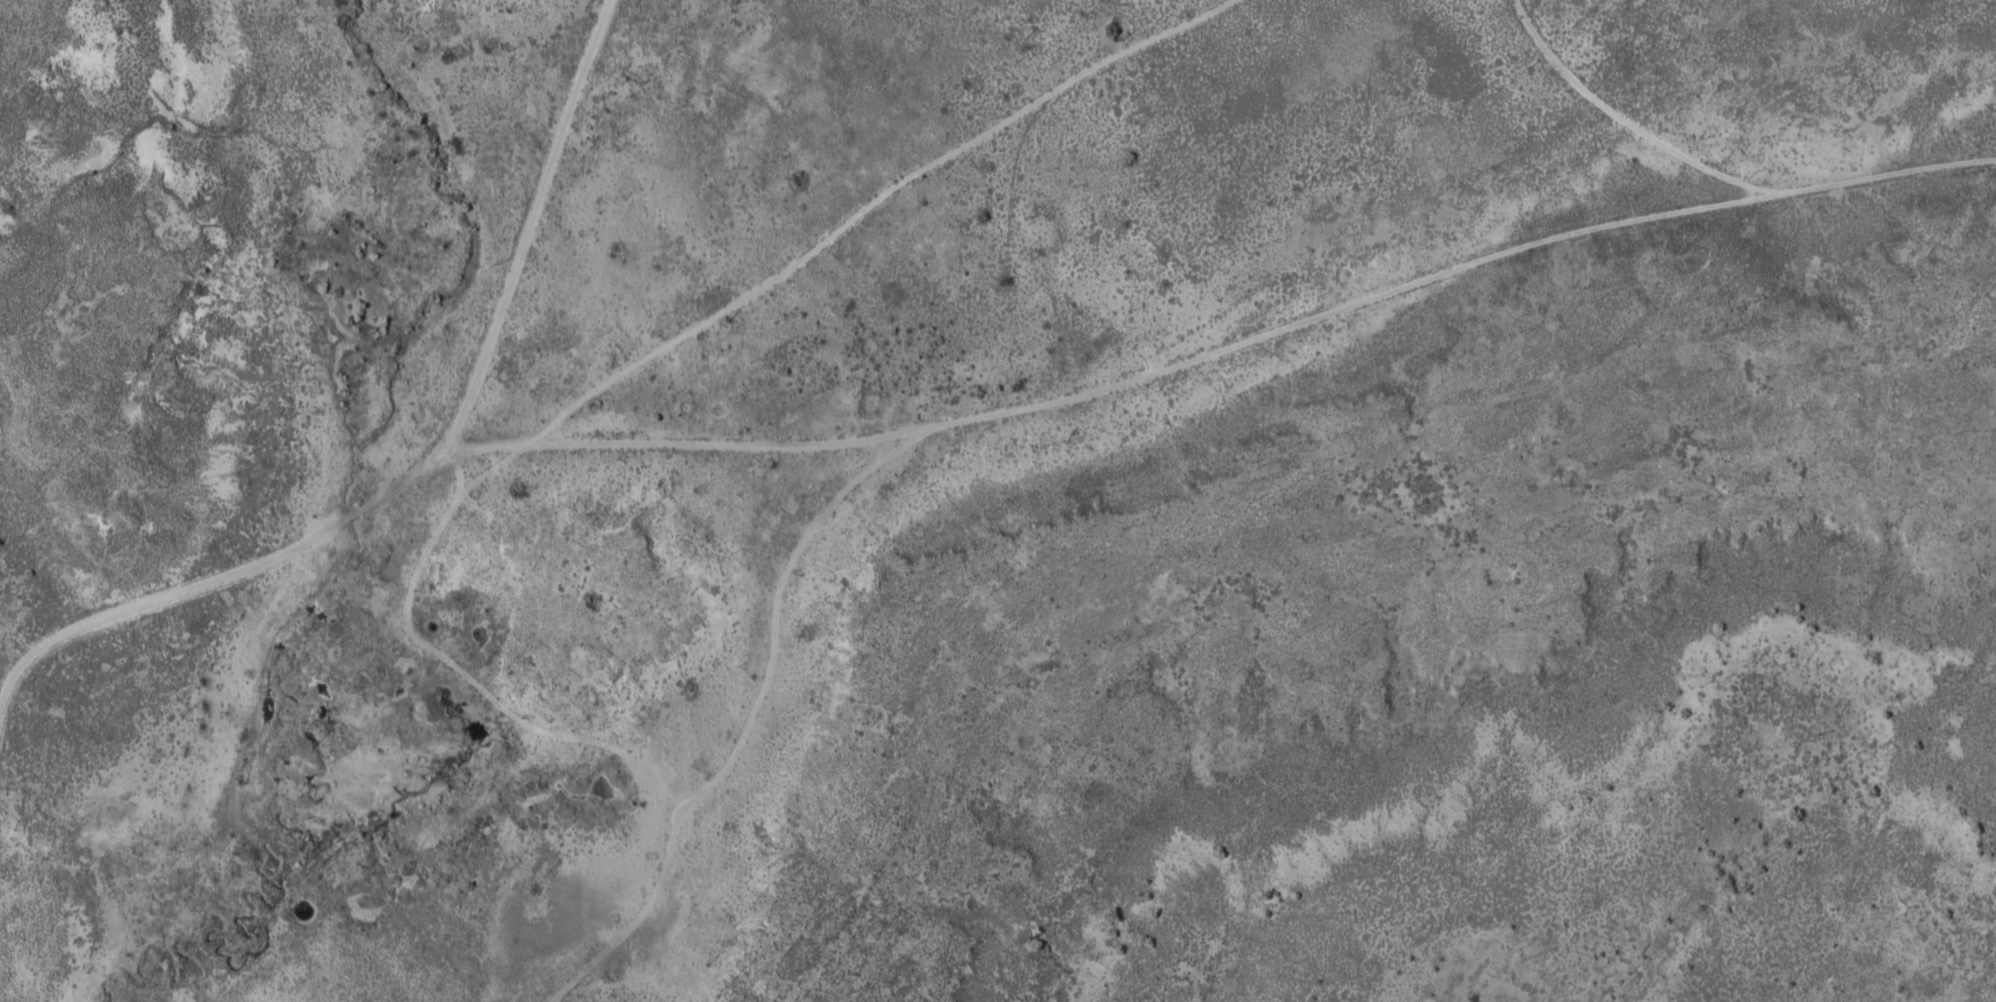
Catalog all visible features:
road: (1703, 192)
road: (1146, 364)
road: (636, 375)
road: (430, 458)
road: (705, 740)
river: (222, 933)

